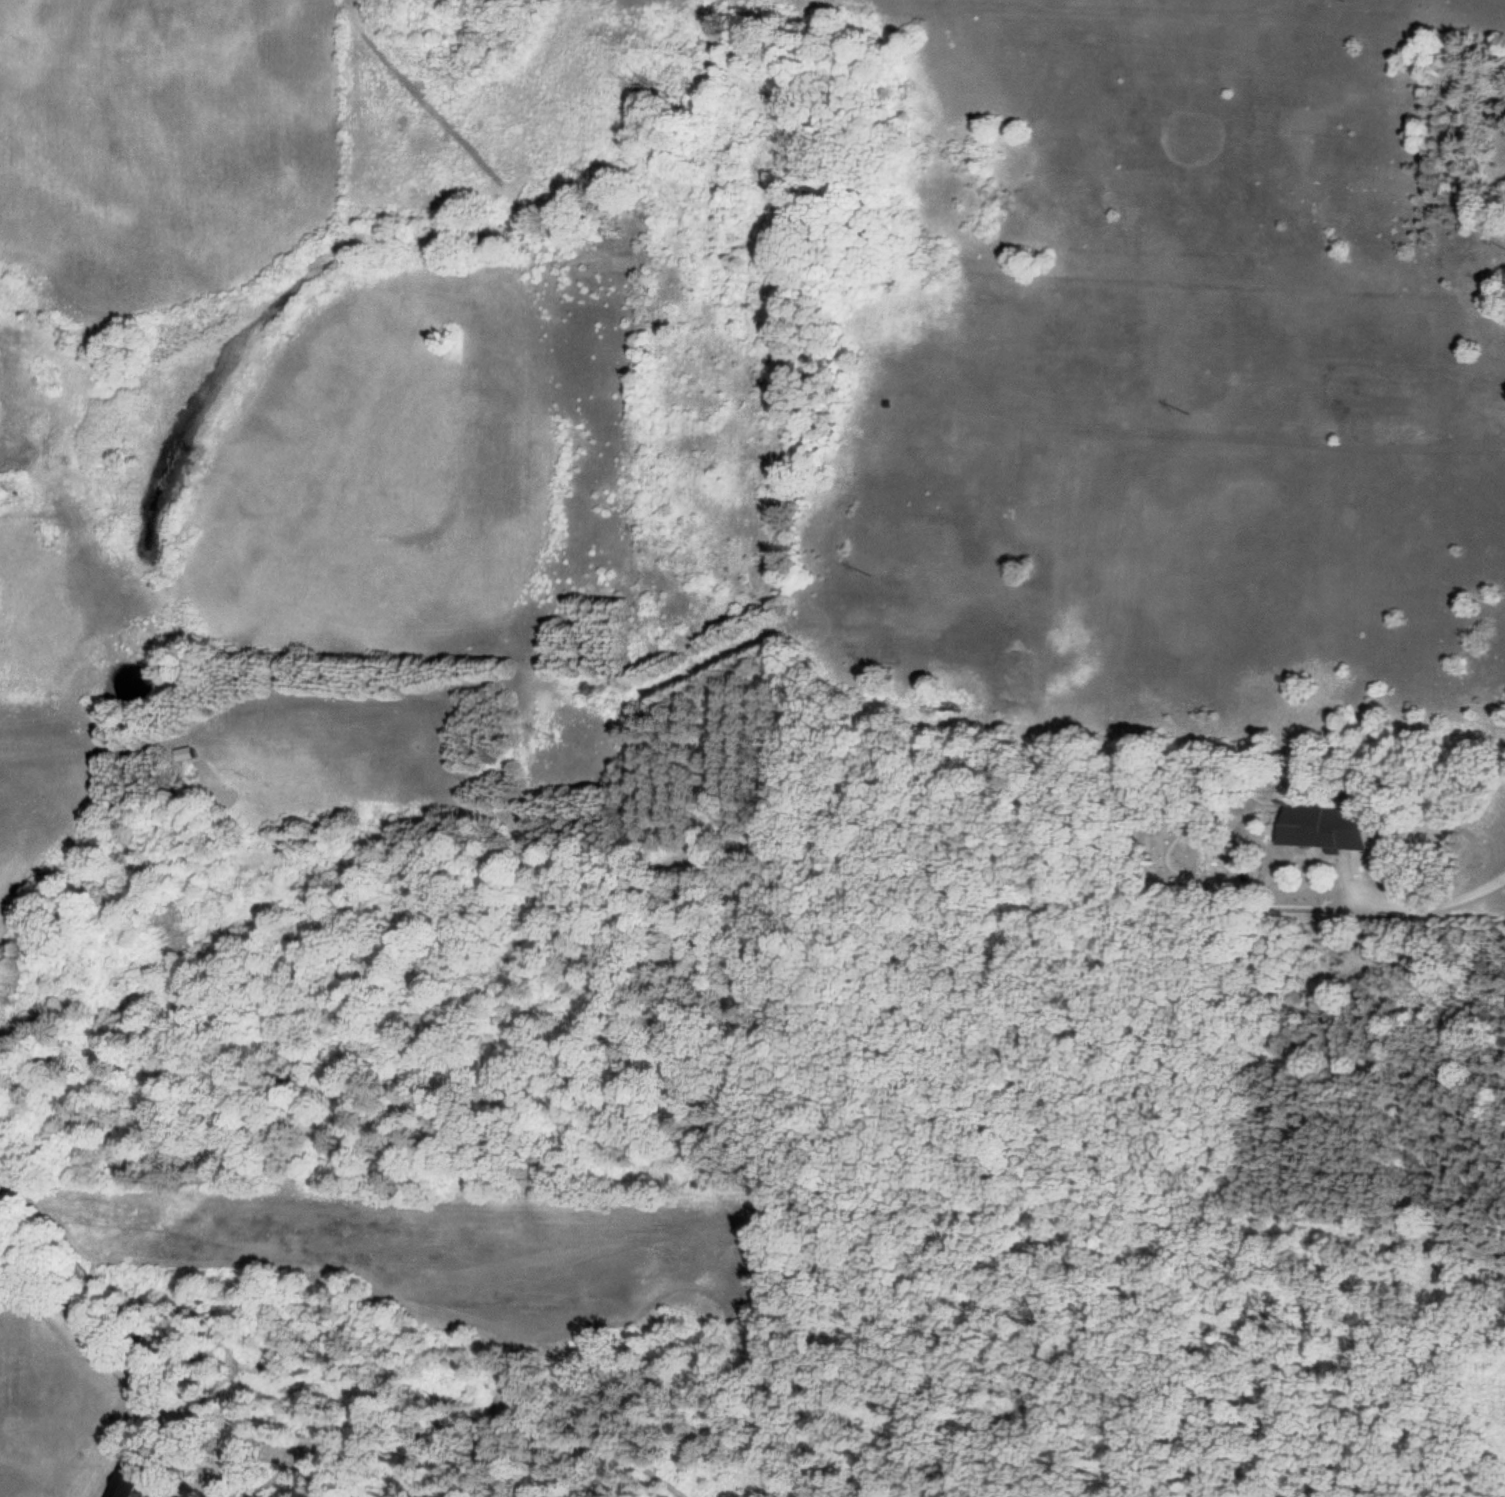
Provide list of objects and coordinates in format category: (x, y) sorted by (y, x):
building: (1320, 828)

